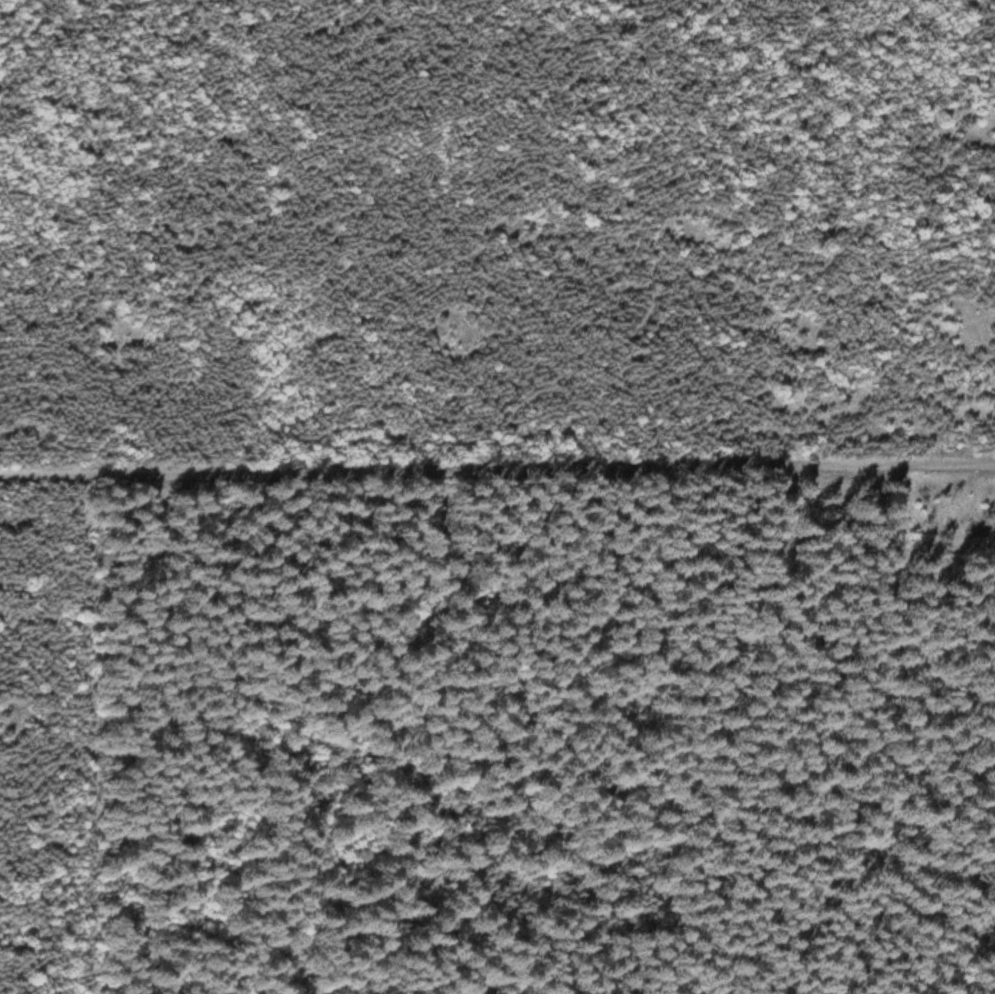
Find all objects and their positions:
road: (497, 471)

